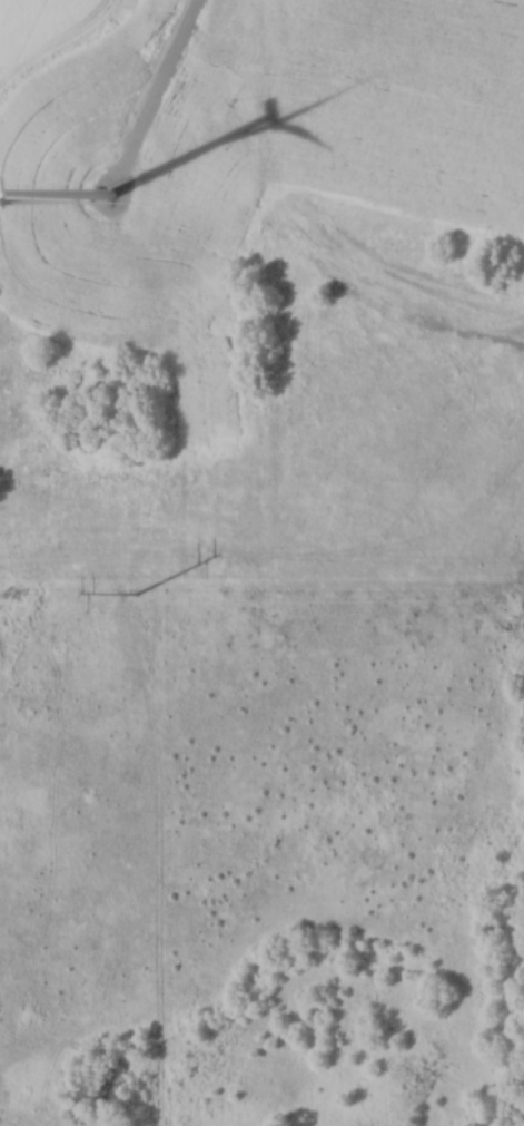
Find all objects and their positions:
wind turbine: (110, 193)
power tower: (135, 593)

